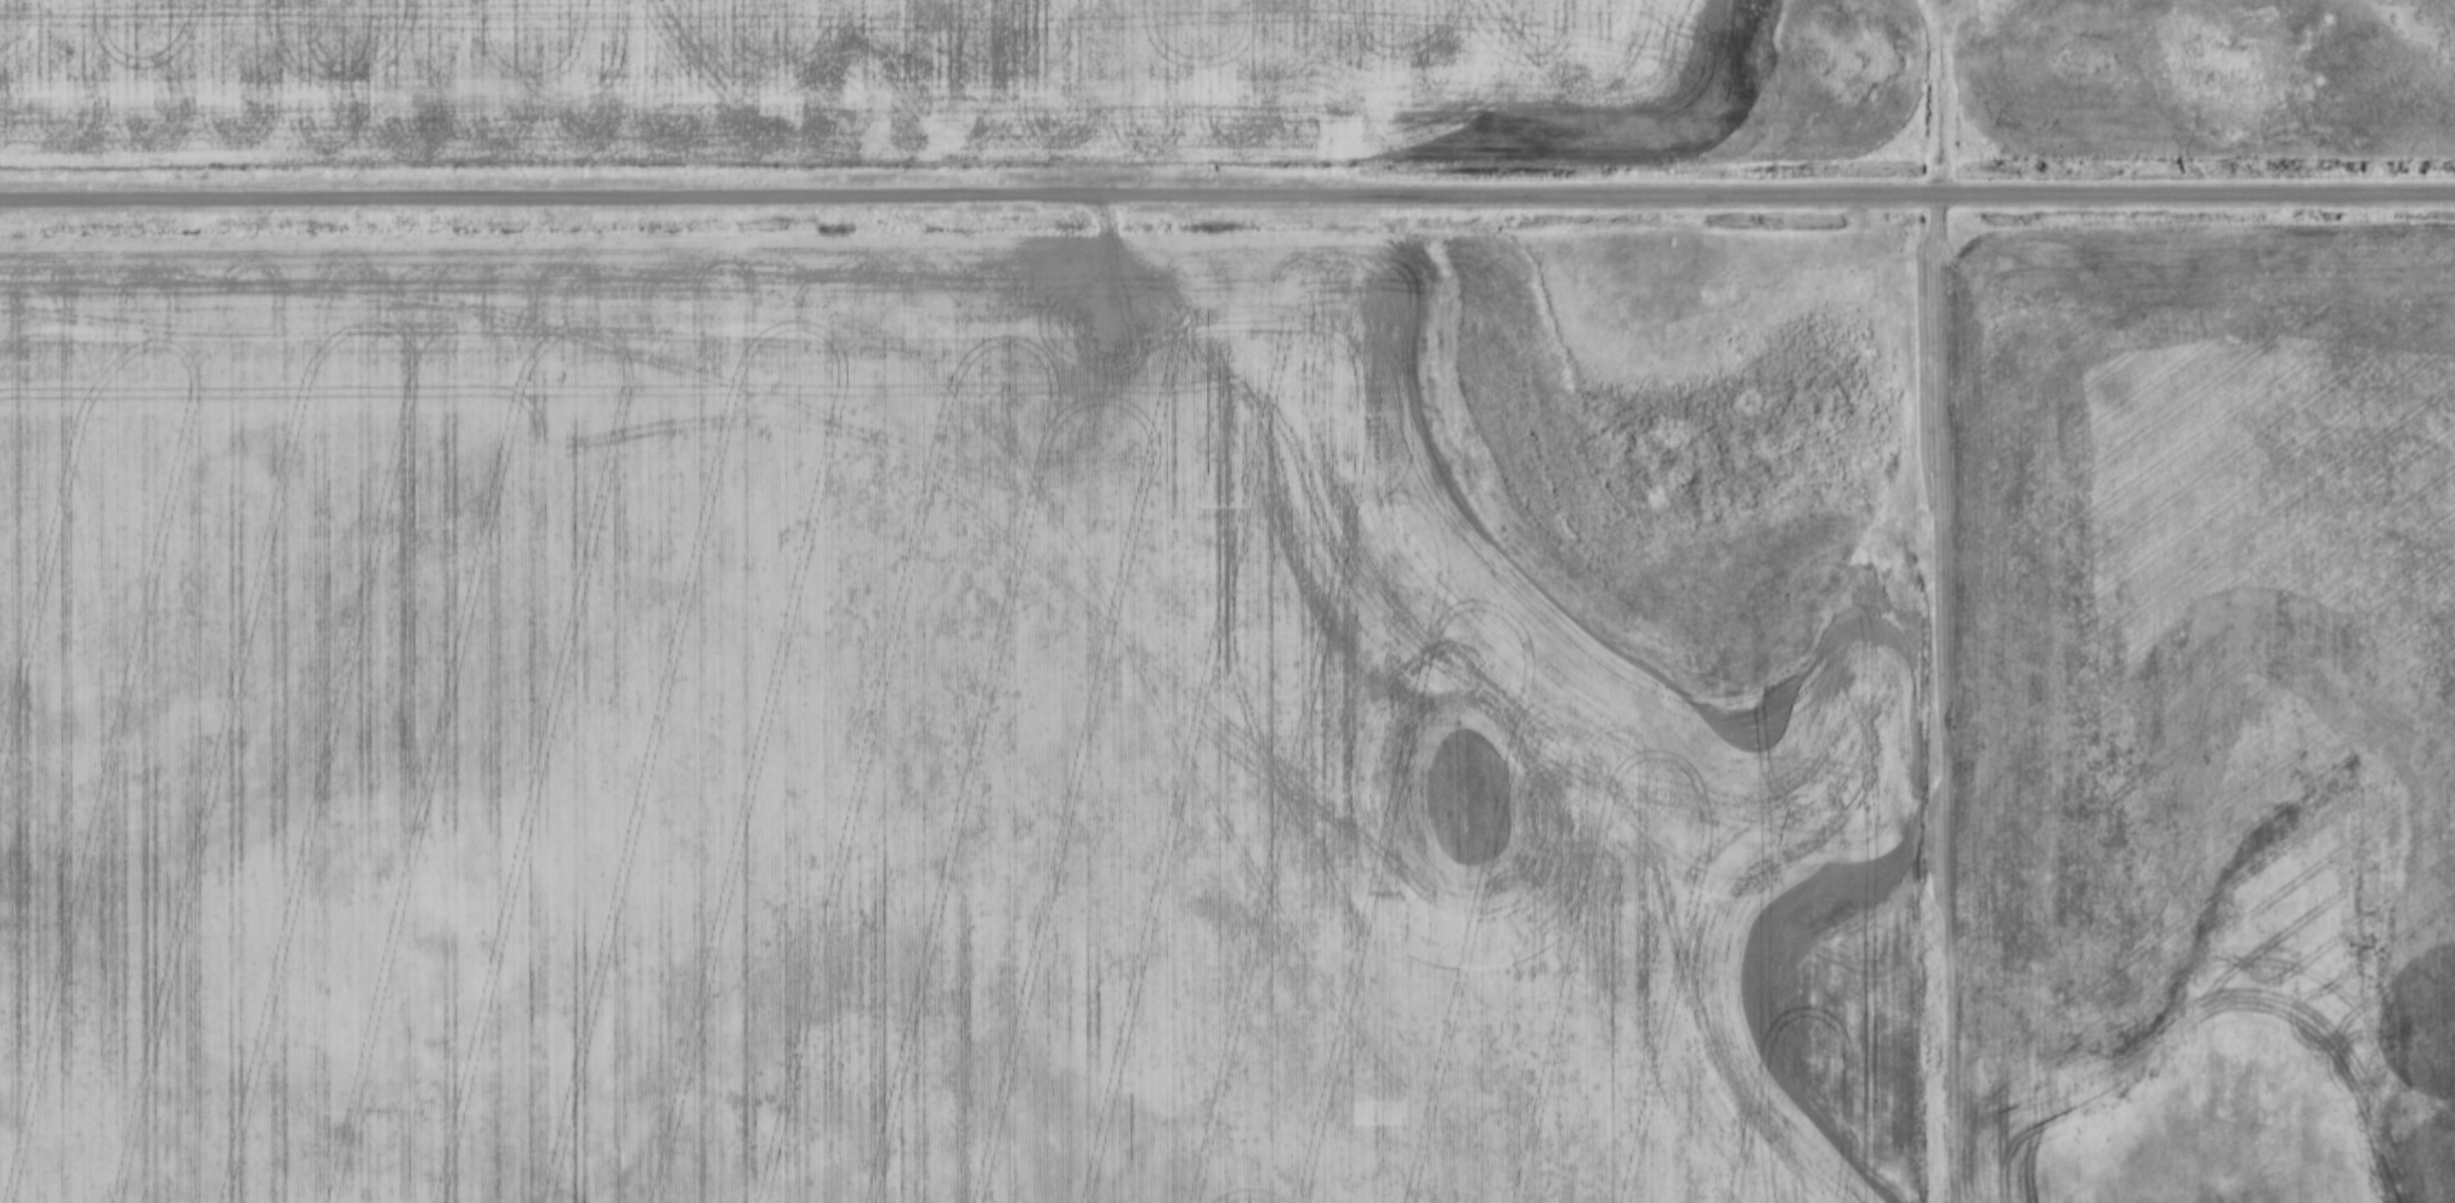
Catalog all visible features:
road: (1226, 200)

